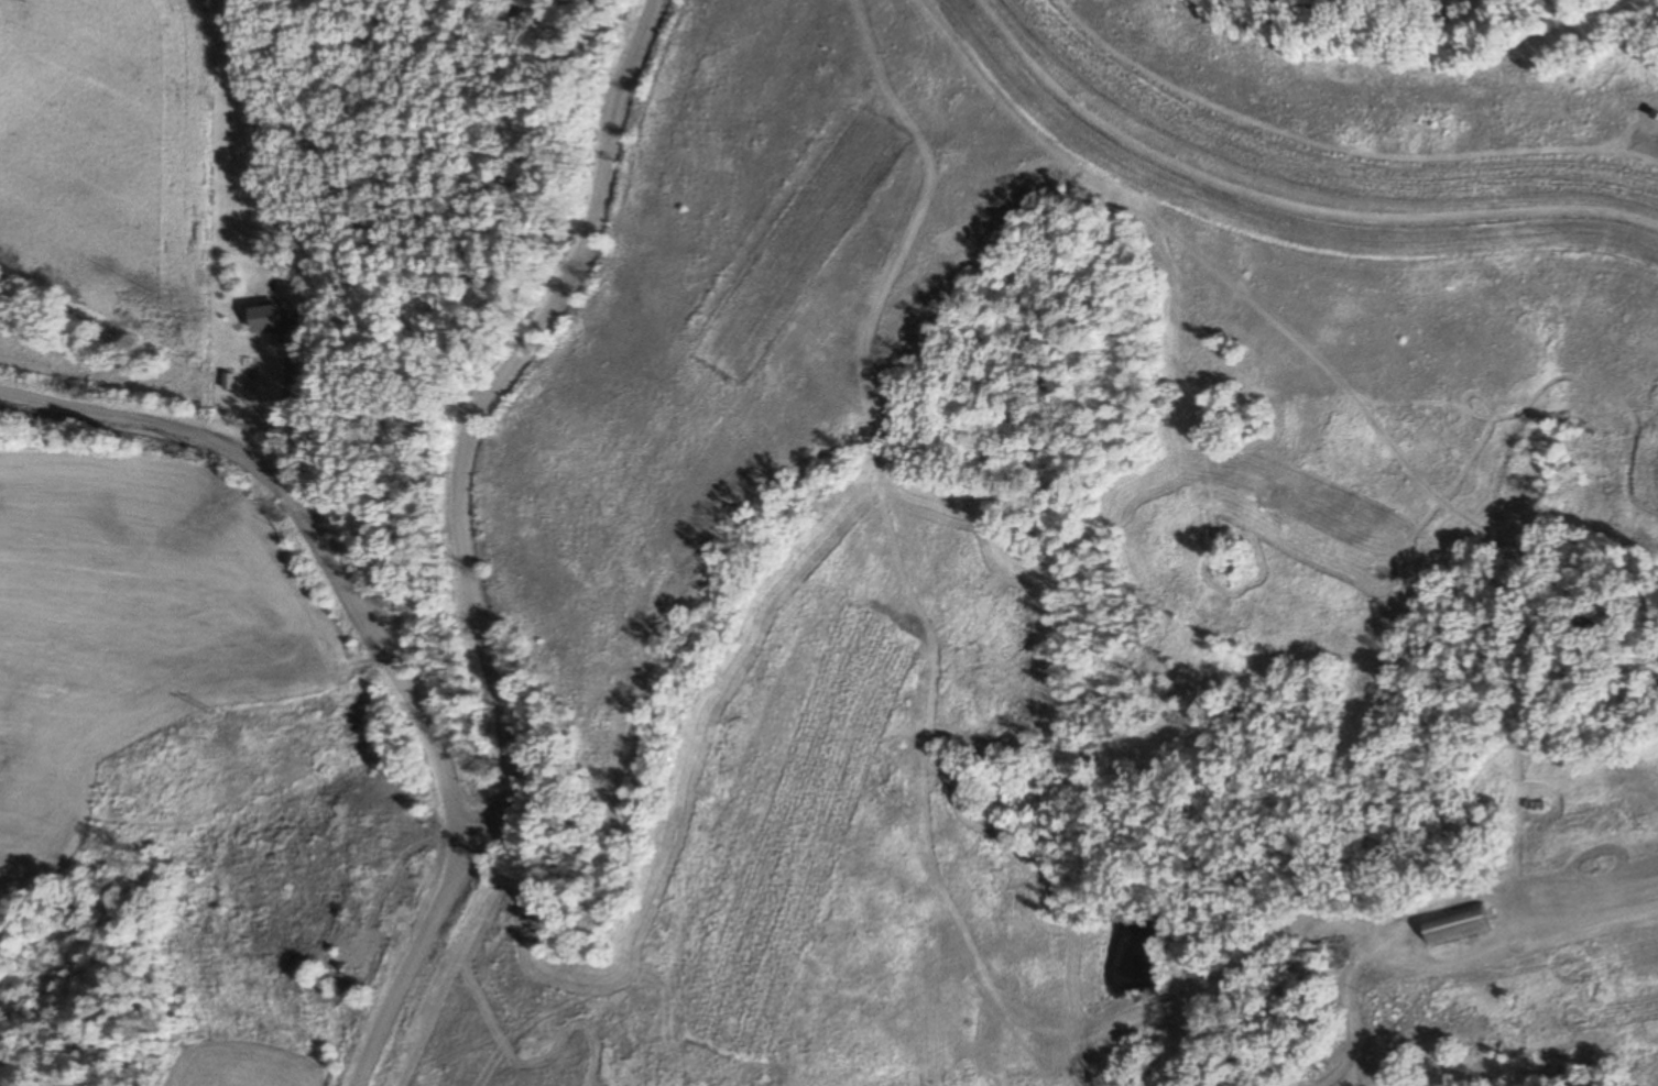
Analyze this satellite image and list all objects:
building: (282, 323)
power tower: (210, 459)
road: (455, 546)
road: (265, 596)
building: (1458, 924)
building: (354, 940)

